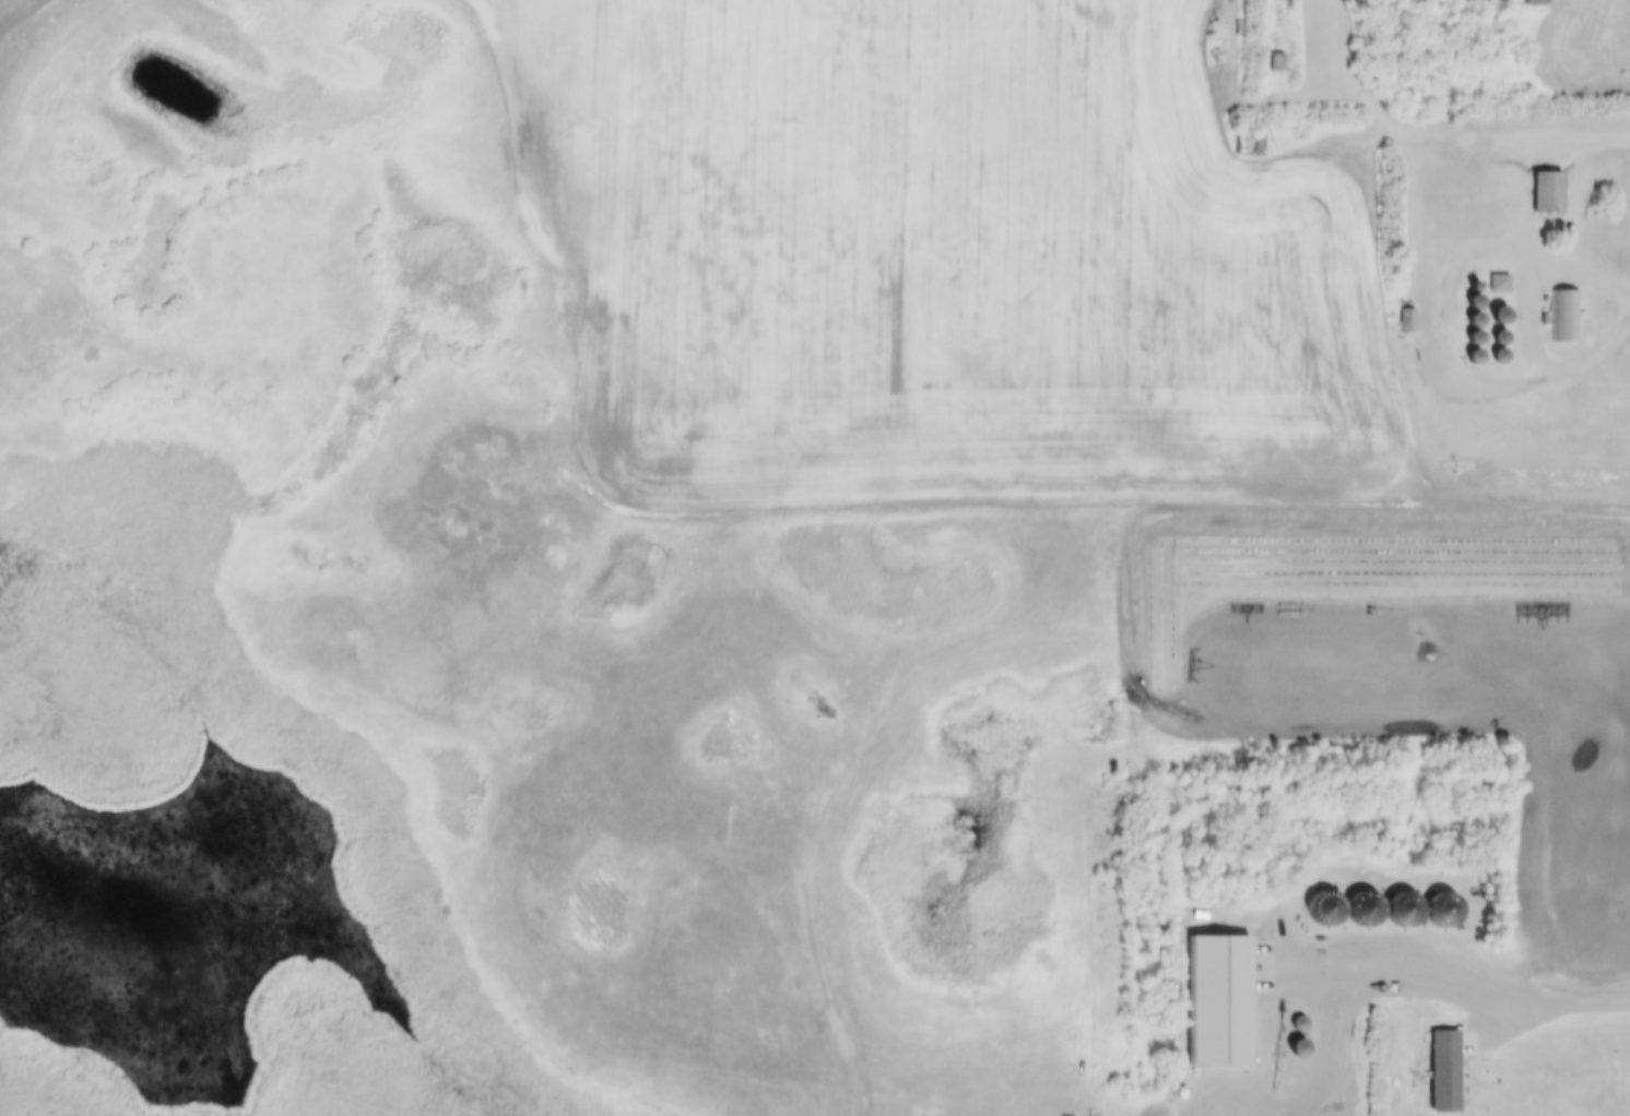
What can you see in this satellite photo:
building: (1535, 3)
building: (1277, 63)
road: (1540, 138)
building: (1252, 142)
building: (1549, 194)
road: (1533, 304)
building: (1567, 319)
building: (1409, 323)
building: (1441, 907)
road: (1480, 990)
building: (1300, 1025)
building: (1299, 1052)
building: (1445, 1075)
road: (1279, 1087)

